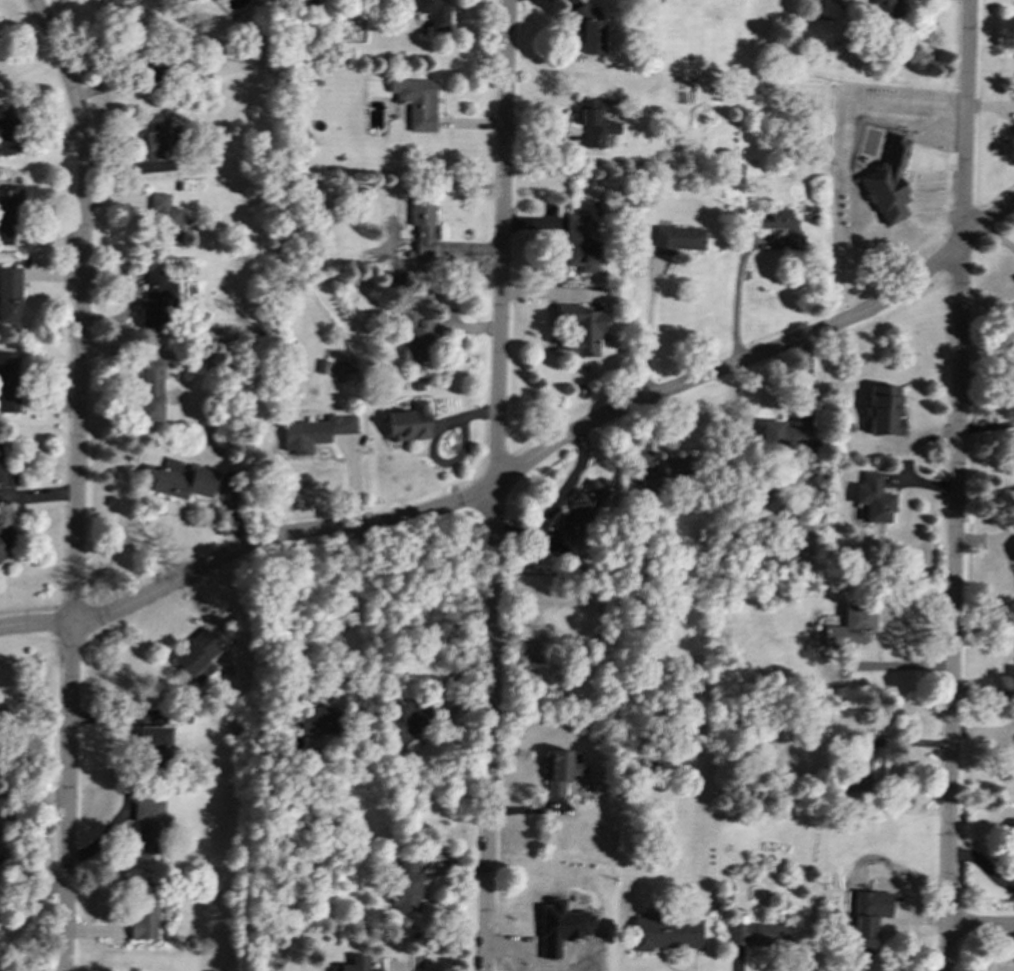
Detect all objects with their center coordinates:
building: (214, 0)
building: (110, 3)
building: (884, 11)
building: (434, 13)
building: (589, 31)
building: (417, 102)
building: (595, 121)
building: (7, 132)
building: (156, 137)
building: (888, 182)
building: (8, 210)
building: (166, 221)
building: (422, 223)
building: (786, 227)
building: (677, 239)
building: (579, 244)
building: (10, 295)
building: (157, 298)
road: (739, 302)
road: (650, 333)
building: (415, 337)
building: (8, 382)
building: (151, 390)
building: (883, 411)
building: (409, 423)
building: (315, 432)
building: (786, 436)
road: (452, 464)
road: (525, 464)
building: (6, 474)
building: (662, 474)
building: (178, 479)
road: (76, 480)
road: (570, 484)
road: (494, 485)
road: (956, 485)
building: (874, 498)
building: (579, 511)
building: (7, 538)
building: (1012, 549)
road: (351, 617)
building: (851, 627)
building: (196, 655)
building: (1011, 675)
building: (317, 720)
building: (408, 721)
building: (153, 743)
building: (860, 764)
building: (559, 770)
building: (146, 824)
building: (1013, 839)
building: (405, 885)
building: (143, 910)
road: (981, 926)
building: (664, 932)
building: (759, 934)
building: (863, 934)
building: (353, 964)
road: (393, 969)

